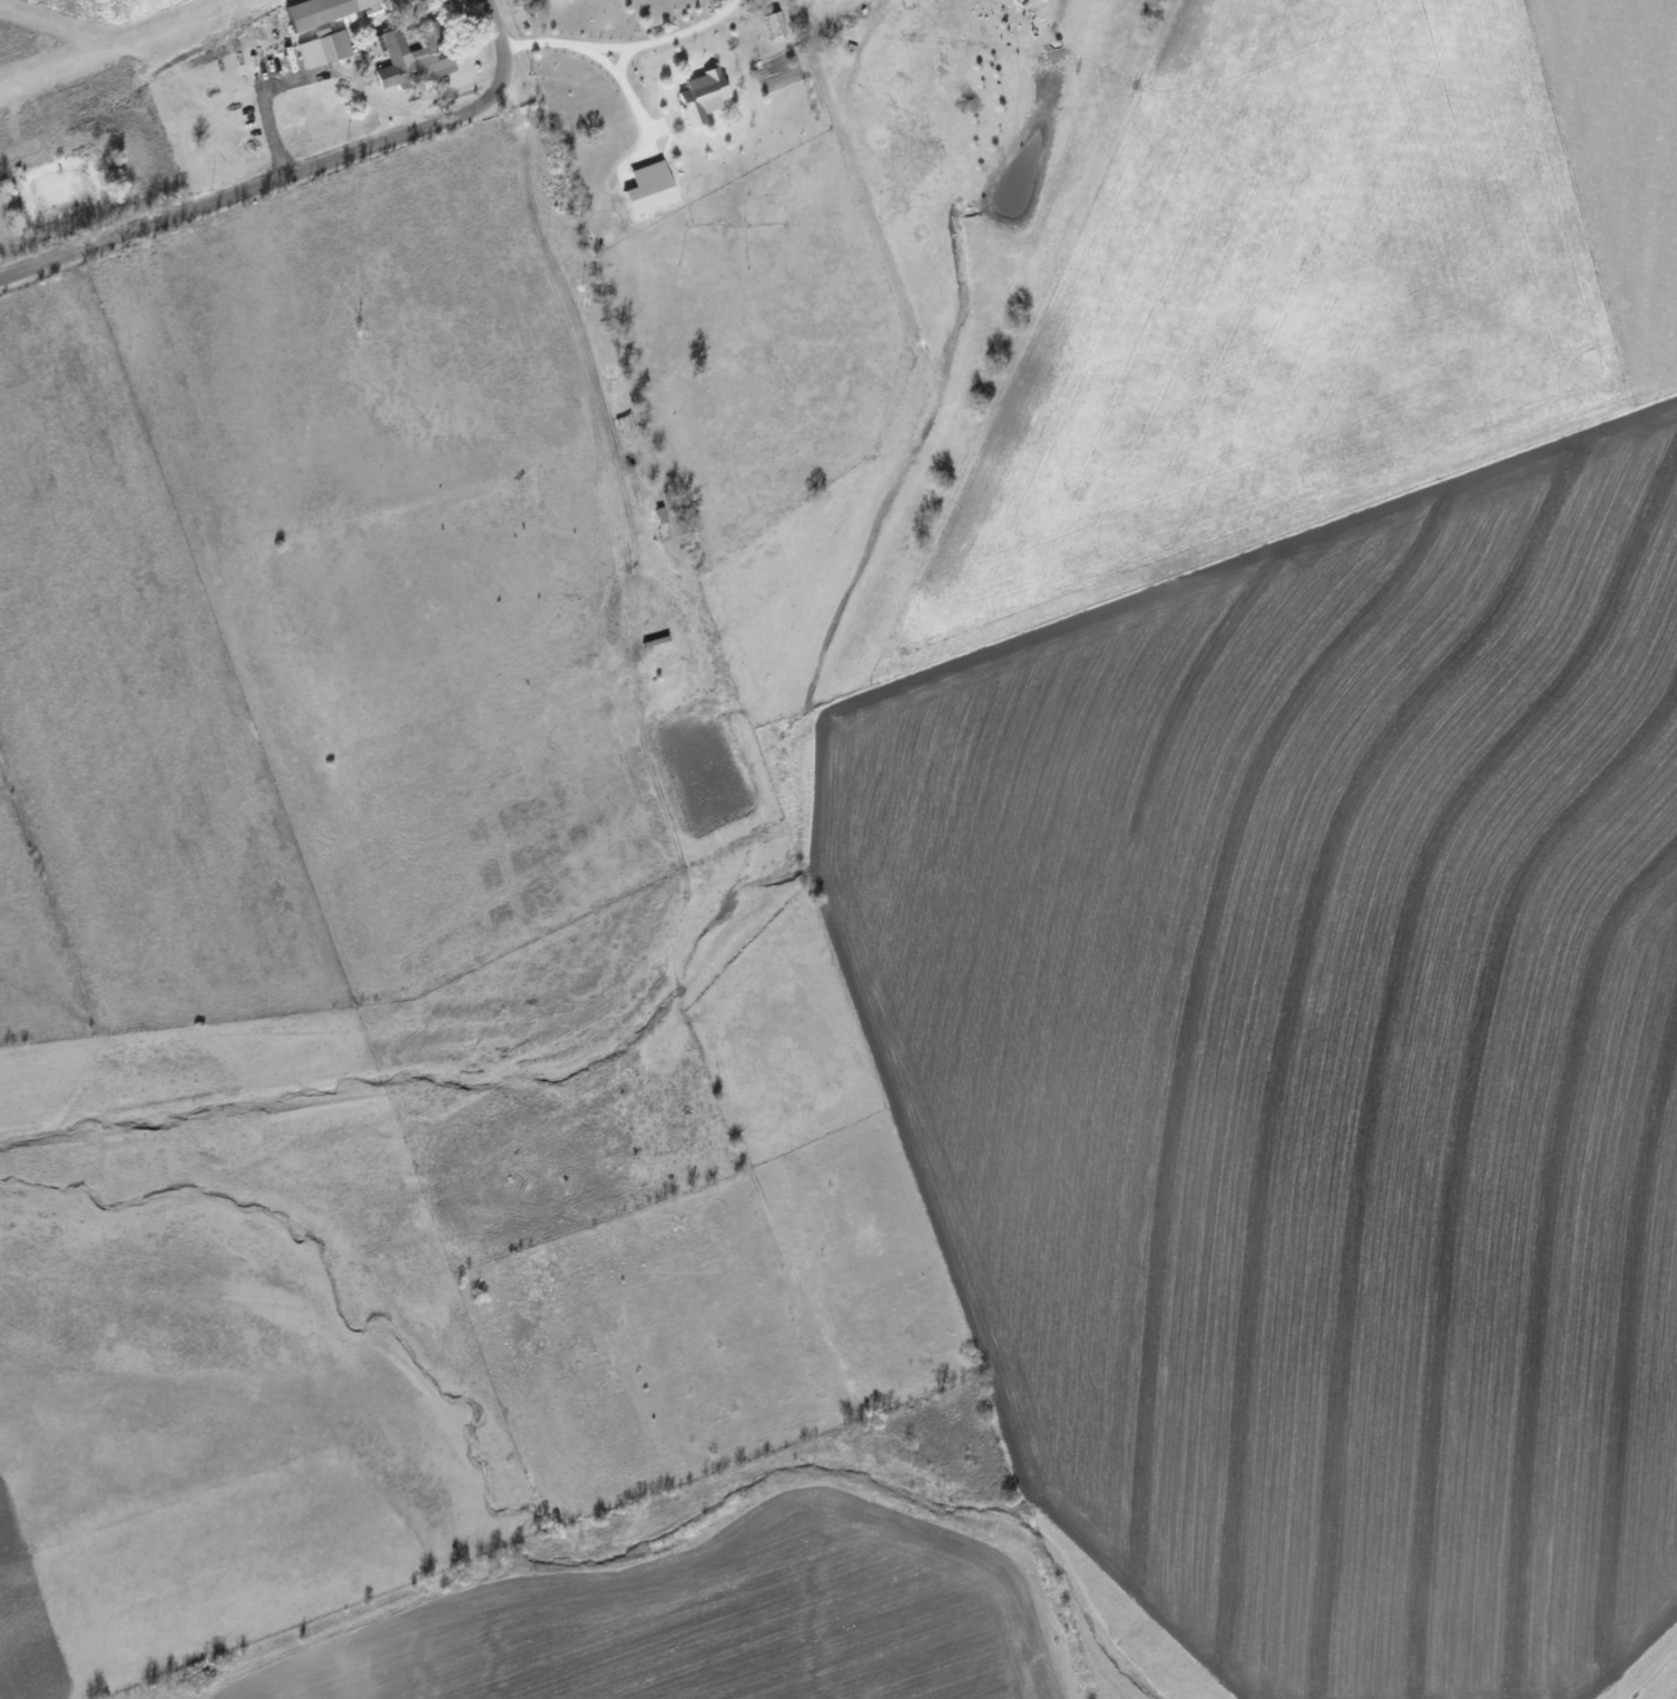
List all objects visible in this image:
airport runway: (73, 24)
road: (659, 39)
airport runway: (124, 45)
building: (326, 47)
road: (594, 55)
road: (624, 57)
building: (706, 95)
road: (296, 171)
building: (653, 187)

